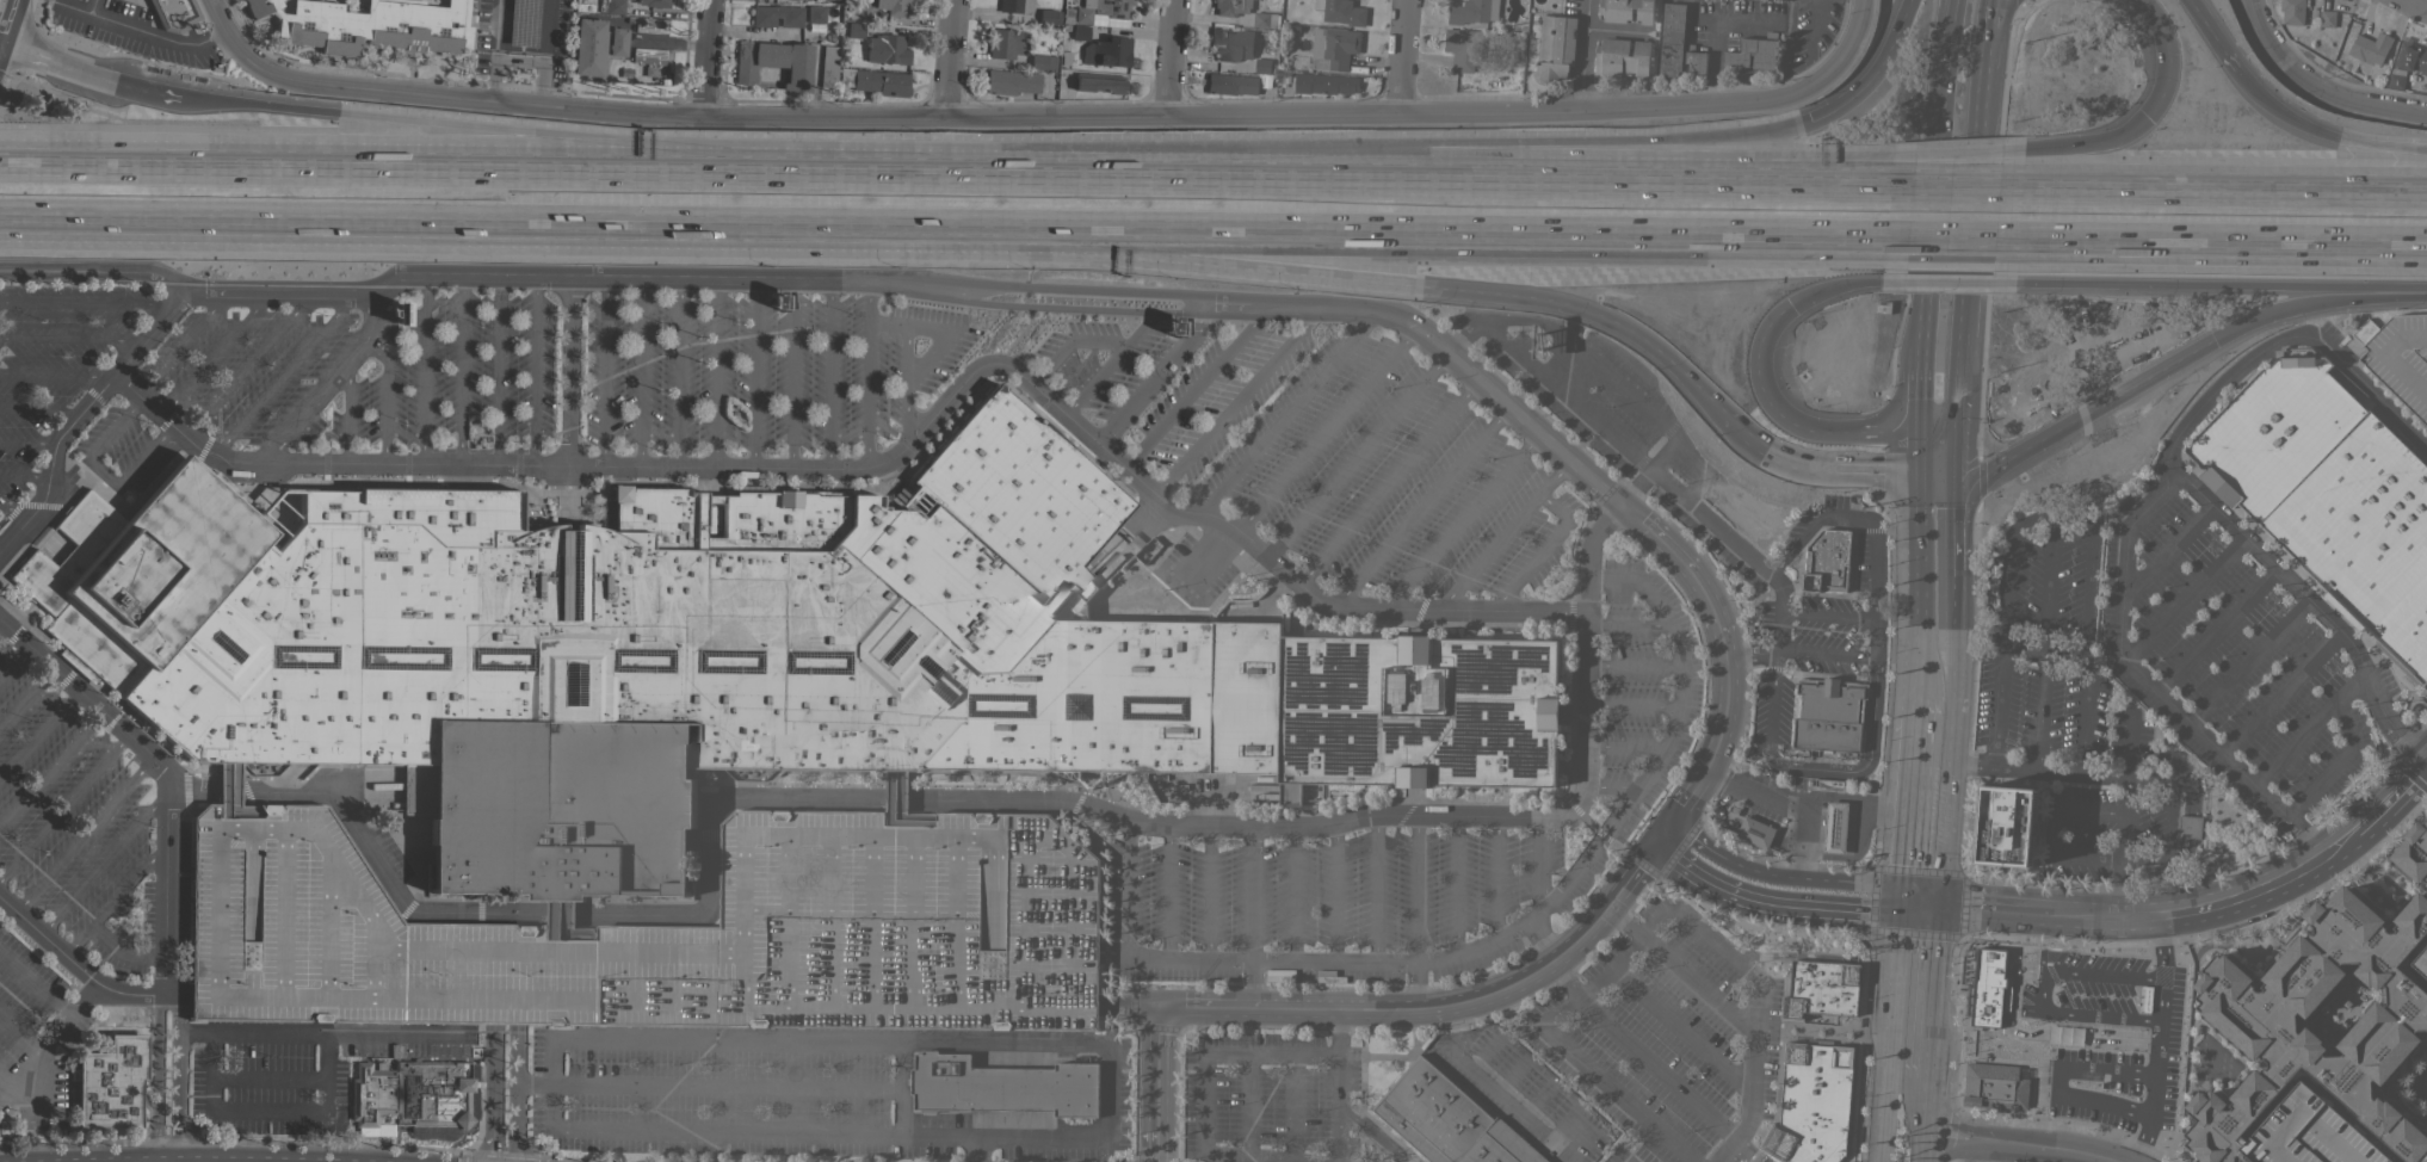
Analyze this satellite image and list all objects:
building: (768, 0)
building: (653, 2)
road: (2411, 5)
building: (611, 6)
building: (1014, 6)
building: (1231, 6)
building: (897, 7)
building: (1111, 7)
building: (1472, 11)
building: (1625, 11)
building: (2292, 11)
building: (1344, 12)
building: (173, 13)
building: (860, 13)
building: (815, 14)
building: (1081, 14)
building: (777, 16)
building: (1048, 17)
building: (2327, 18)
building: (1265, 19)
road: (2196, 19)
road: (1731, 21)
road: (8, 24)
building: (370, 25)
building: (650, 25)
road: (2009, 26)
road: (500, 29)
building: (854, 29)
road: (1622, 31)
building: (1080, 32)
road: (150, 33)
road: (751, 33)
building: (519, 39)
building: (1672, 39)
building: (616, 42)
building: (1005, 43)
road: (1945, 43)
building: (1230, 44)
road: (2264, 44)
building: (588, 47)
building: (1339, 47)
building: (1555, 47)
road: (2169, 47)
building: (1463, 48)
building: (2370, 48)
road: (0, 49)
building: (885, 49)
road: (1789, 49)
building: (1106, 51)
building: (1754, 51)
road: (548, 52)
road: (1401, 55)
road: (1587, 55)
road: (1174, 57)
building: (1622, 57)
building: (2411, 57)
building: (648, 58)
road: (703, 58)
road: (946, 58)
road: (523, 60)
building: (1696, 61)
building: (773, 62)
building: (1042, 62)
road: (1717, 63)
building: (828, 67)
road: (86, 75)
road: (496, 80)
building: (1240, 80)
building: (873, 81)
building: (2395, 81)
building: (1009, 82)
building: (1098, 82)
building: (1324, 84)
road: (2250, 87)
road: (2359, 104)
road: (215, 106)
road: (1981, 106)
road: (1045, 116)
traffic signals: (2148, 123)
traffic signals: (1809, 124)
road: (551, 143)
road: (2363, 144)
road: (2092, 147)
road: (1935, 149)
road: (1583, 155)
road: (1958, 156)
road: (421, 172)
road: (1792, 173)
road: (1018, 174)
road: (1429, 181)
road: (1791, 186)
road: (1956, 187)
road: (2212, 188)
railway: (1213, 206)
road: (415, 221)
road: (1370, 234)
road: (1952, 241)
road: (2211, 243)
road: (1116, 260)
road: (1950, 276)
road: (2210, 277)
road: (684, 278)
road: (1963, 289)
road: (86, 303)
road: (2316, 303)
traffic signals: (1790, 305)
road: (1592, 311)
road: (940, 327)
road: (193, 329)
road: (1463, 332)
traffic signals: (2213, 341)
road: (70, 342)
road: (1067, 342)
road: (215, 352)
building: (2398, 357)
parking garage: (2398, 357)
road: (1111, 361)
road: (251, 363)
road: (424, 371)
road: (459, 371)
road: (496, 371)
road: (284, 372)
road: (532, 372)
road: (566, 373)
road: (603, 373)
road: (638, 373)
road: (679, 373)
road: (57, 375)
road: (715, 375)
road: (754, 375)
road: (865, 375)
road: (790, 376)
road: (827, 376)
road: (1154, 379)
road: (327, 382)
road: (904, 384)
road: (1193, 389)
road: (1555, 390)
road: (384, 401)
road: (1233, 402)
road: (1963, 404)
road: (2088, 409)
road: (41, 410)
road: (1771, 410)
road: (81, 412)
road: (1285, 412)
road: (347, 418)
road: (1324, 429)
road: (89, 441)
road: (27, 444)
traffic signals: (1964, 444)
road: (893, 455)
road: (1354, 455)
road: (1917, 455)
road: (1940, 457)
road: (1963, 461)
road: (1823, 465)
traffic signals: (1917, 470)
road: (126, 474)
road: (25, 476)
road: (1387, 482)
building: (2328, 496)
road: (1616, 505)
road: (1420, 507)
road: (13, 508)
road: (2040, 515)
road: (2139, 515)
road: (1462, 521)
road: (1816, 523)
road: (1502, 534)
road: (1, 544)
road: (2169, 551)
road: (1543, 552)
road: (1960, 558)
building: (1827, 561)
building: (140, 571)
road: (2185, 598)
road: (2310, 601)
road: (1827, 616)
road: (1628, 625)
parking lot: (1635, 625)
road: (2216, 628)
road: (2, 629)
building: (727, 629)
road: (2089, 629)
road: (1674, 636)
road: (1587, 639)
road: (2045, 647)
road: (1822, 654)
rooftop solar panel: (1533, 656)
road: (1871, 656)
road: (13, 661)
road: (2249, 662)
road: (1632, 666)
rooftop solar panel: (1486, 667)
rooftop solar panel: (1323, 675)
road: (2349, 690)
road: (2280, 692)
road: (81, 696)
road: (26, 699)
road: (1632, 707)
road: (1771, 710)
building: (1418, 711)
building: (1828, 715)
road: (2345, 718)
rooftop solar panel: (1488, 730)
rooftop solar panel: (1415, 731)
road: (38, 735)
rooftop solar panel: (1332, 743)
road: (2128, 744)
road: (1624, 748)
rooftop solar panel: (1531, 758)
road: (1651, 766)
road: (2170, 767)
road: (1816, 769)
road: (50, 772)
road: (1953, 773)
road: (2111, 775)
road: (2176, 779)
building: (1828, 783)
road: (1611, 784)
road: (221, 797)
road: (896, 799)
road: (2389, 799)
road: (1787, 801)
road: (1912, 801)
road: (1684, 802)
road: (62, 805)
road: (891, 805)
building: (556, 808)
road: (1622, 809)
road: (2168, 816)
road: (1586, 820)
road: (1338, 821)
building: (2006, 826)
road: (2188, 826)
parking lot: (91, 827)
building: (1835, 827)
building: (2190, 827)
building: (1755, 832)
road: (2049, 832)
road: (81, 834)
building: (2417, 834)
road: (2335, 845)
road: (1651, 848)
road: (1622, 851)
road: (2182, 852)
road: (2143, 857)
road: (1539, 860)
building: (2392, 861)
road: (99, 863)
road: (1495, 877)
road: (1780, 879)
road: (1456, 885)
road: (1624, 886)
road: (247, 888)
road: (1128, 888)
road: (1414, 888)
road: (1376, 889)
road: (1168, 891)
road: (1209, 892)
road: (1250, 894)
road: (1333, 894)
road: (1292, 895)
road: (2229, 900)
road: (112, 902)
traffic signals: (1906, 902)
road: (1771, 903)
road: (1923, 903)
traffic signals: (1941, 906)
road: (1982, 909)
road: (463, 913)
road: (2034, 914)
building: (2397, 916)
road: (455, 917)
road: (605, 919)
road: (2082, 919)
road: (665, 920)
road: (693, 920)
road: (2125, 920)
road: (1525, 921)
road: (1626, 921)
road: (561, 927)
building: (666, 931)
parking lot: (666, 931)
road: (1543, 941)
road: (1718, 942)
road: (1075, 950)
road: (118, 952)
road: (69, 962)
building: (2355, 962)
road: (154, 963)
road: (1260, 963)
road: (245, 968)
road: (1607, 975)
road: (2102, 975)
road: (1568, 981)
road: (1699, 984)
road: (1249, 987)
road: (1419, 987)
building: (1986, 988)
building: (1821, 989)
road: (1934, 993)
road: (166, 996)
road: (183, 997)
road: (53, 1000)
road: (85, 1001)
road: (594, 1002)
road: (1038, 1007)
road: (1128, 1008)
road: (1323, 1010)
road: (2079, 1013)
road: (326, 1018)
road: (554, 1019)
road: (445, 1031)
road: (618, 1031)
road: (1339, 1031)
road: (1892, 1031)
road: (19, 1032)
road: (1682, 1032)
road: (782, 1033)
road: (2037, 1033)
road: (322, 1036)
road: (2157, 1040)
building: (2360, 1045)
road: (1217, 1051)
road: (1656, 1070)
road: (1503, 1071)
road: (177, 1075)
road: (325, 1075)
road: (2056, 1080)
road: (489, 1081)
road: (518, 1081)
road: (1753, 1081)
building: (110, 1083)
road: (535, 1086)
building: (1002, 1086)
building: (1994, 1087)
road: (751, 1088)
road: (205, 1089)
building: (431, 1093)
building: (2235, 1094)
building: (372, 1095)
road: (1616, 1098)
road: (37, 1100)
building: (1810, 1104)
road: (1248, 1106)
road: (1293, 1107)
road: (1336, 1107)
building: (1447, 1120)
road: (1925, 1120)
building: (2302, 1131)
road: (654, 1135)
road: (2020, 1145)
building: (2242, 1150)
road: (978, 1151)
road: (192, 1155)
road: (86, 1158)
road: (152, 1158)
building: (2264, 1158)
road: (1230, 1160)
building: (2213, 1161)
building: (2269, 1161)

